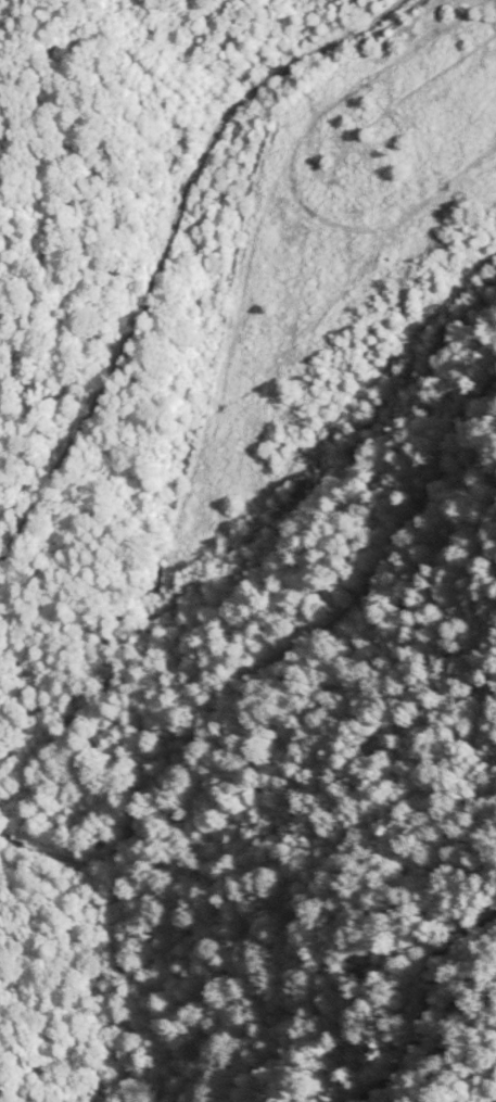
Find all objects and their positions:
road: (137, 231)
road: (429, 1029)

